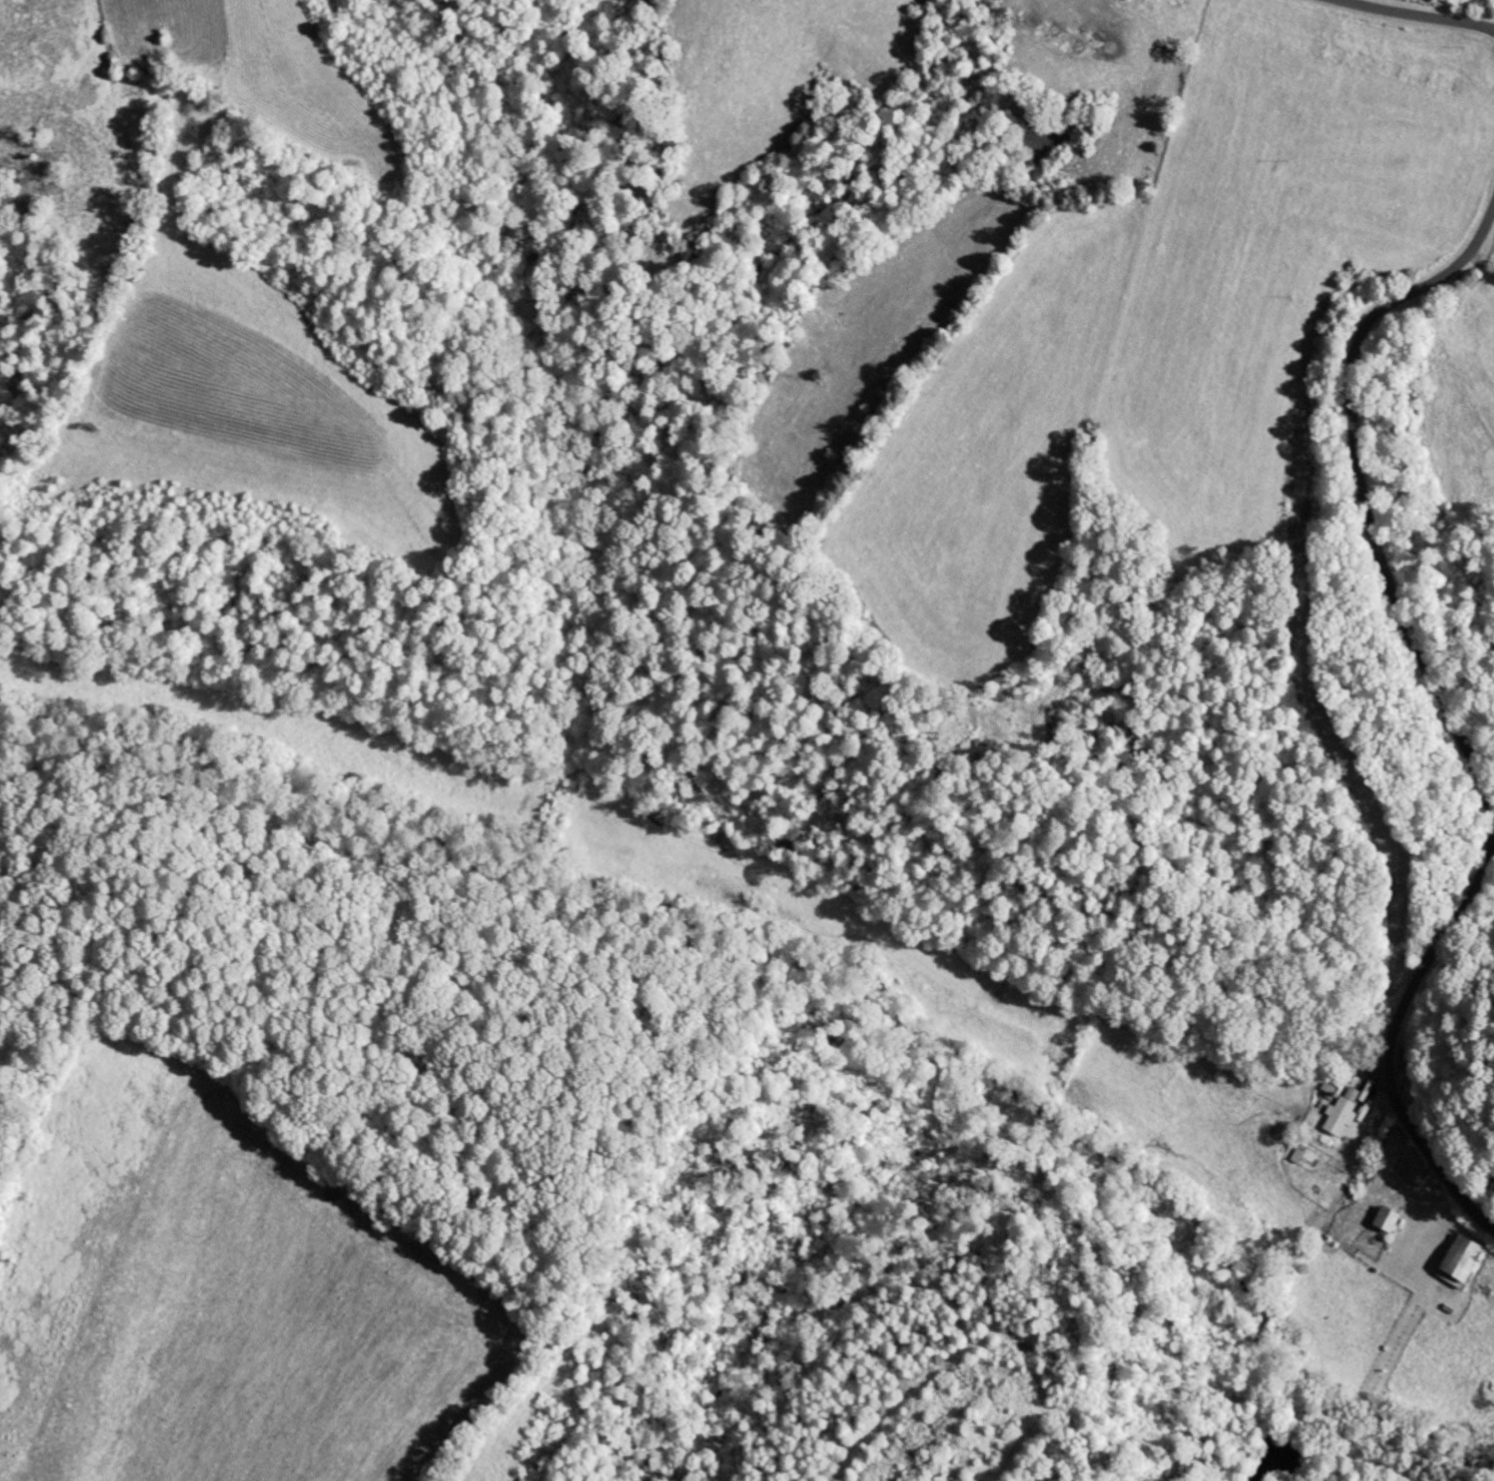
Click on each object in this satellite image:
road: (1414, 15)
road: (1452, 712)
building: (1339, 1112)
building: (1383, 1219)
building: (1457, 1261)

